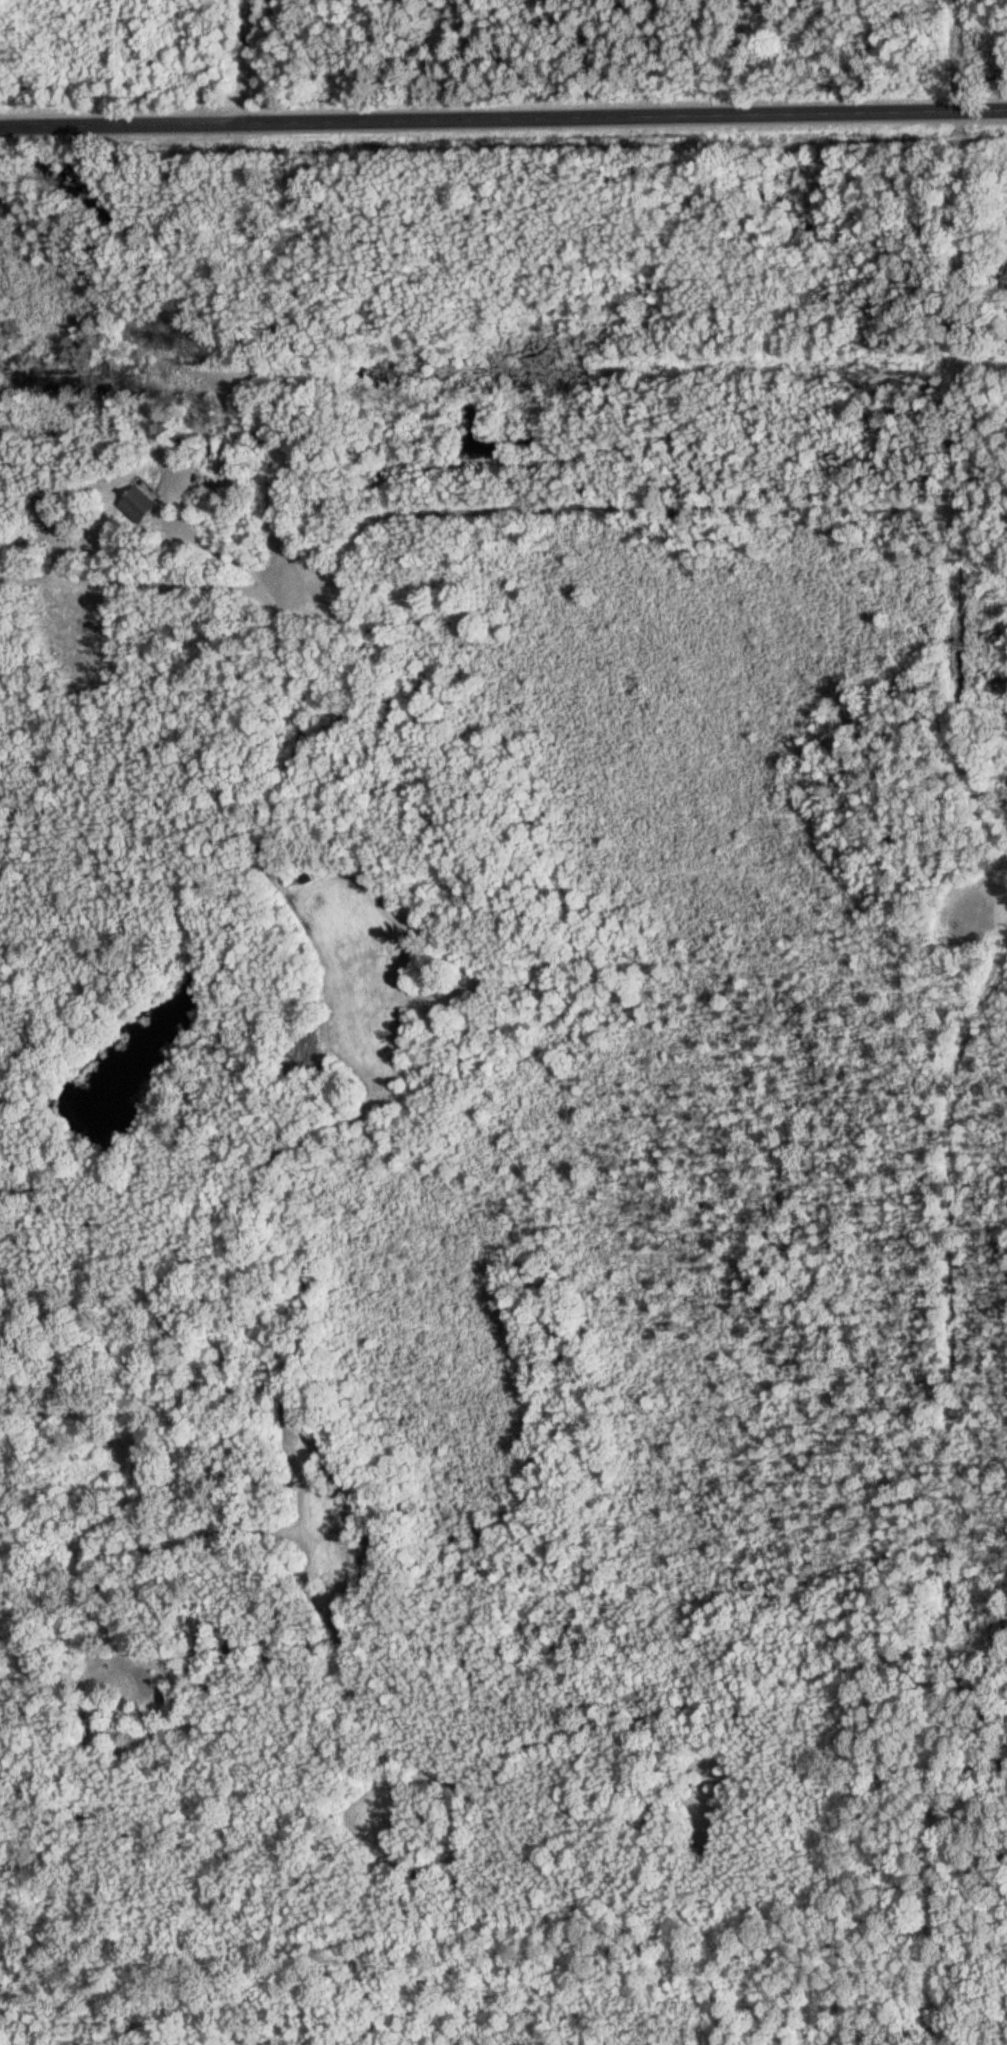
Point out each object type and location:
road: (246, 61)
road: (503, 119)
building: (134, 504)
building: (41, 506)
road: (168, 586)
road: (986, 891)
building: (123, 1754)

